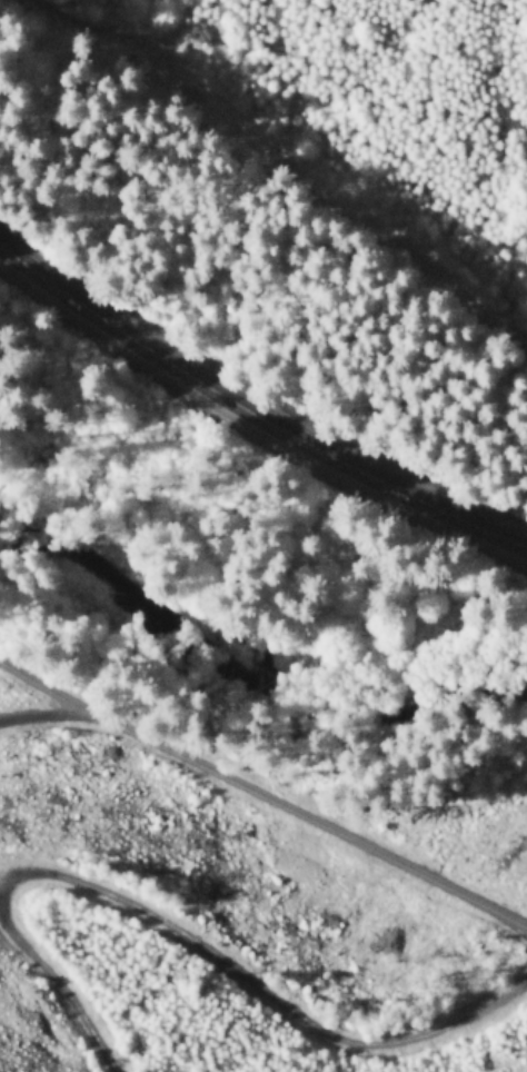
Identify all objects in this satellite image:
road: (280, 153)
road: (253, 409)
road: (260, 785)
road: (170, 921)

